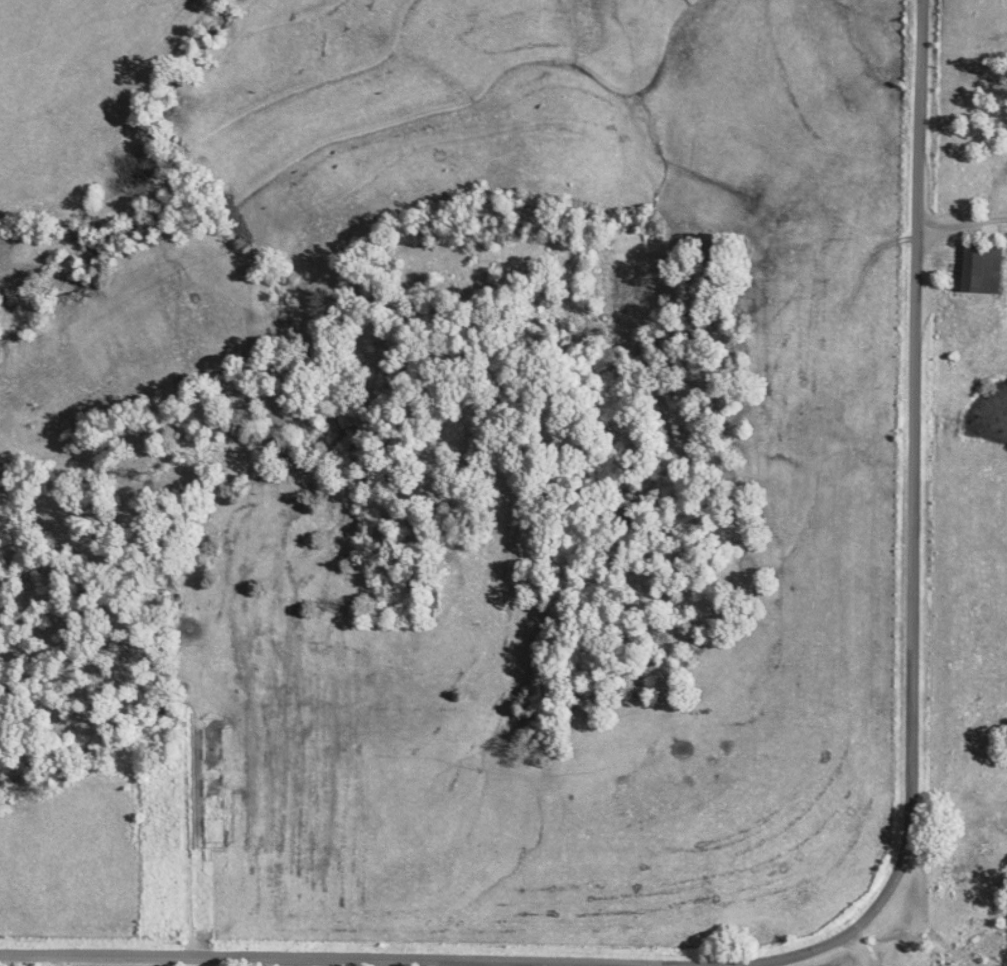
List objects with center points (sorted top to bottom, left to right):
road: (958, 225)
building: (978, 271)
road: (907, 531)
road: (856, 952)
road: (328, 960)
road: (53, 962)
road: (511, 964)

